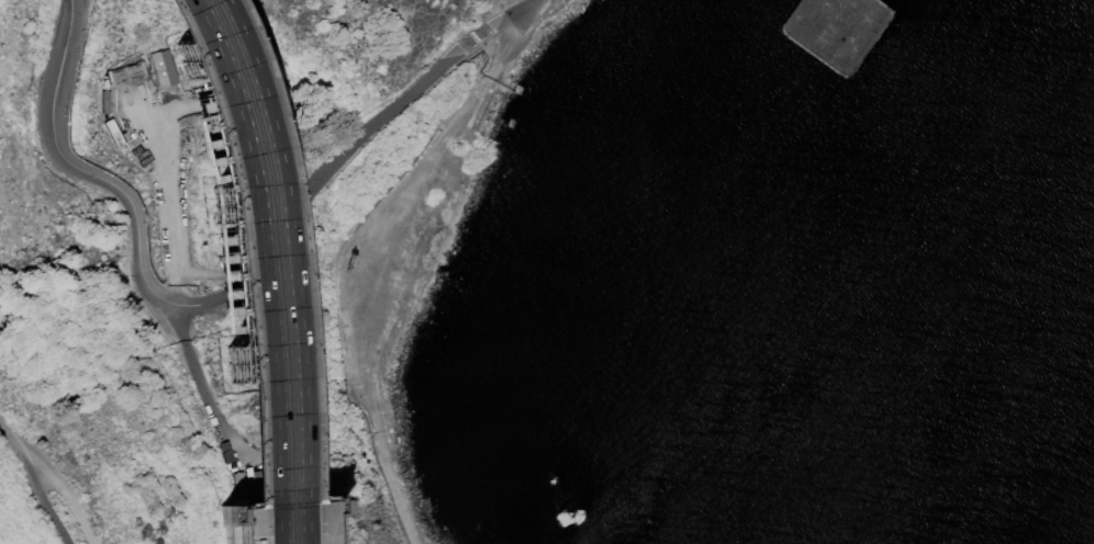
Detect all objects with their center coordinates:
pier: (893, 11)
road: (504, 19)
pier: (835, 30)
road: (512, 39)
building: (161, 67)
road: (164, 202)
road: (181, 203)
road: (224, 267)
road: (242, 268)
road: (263, 269)
road: (281, 269)
road: (373, 299)
road: (203, 305)
road: (196, 370)
road: (18, 446)
road: (69, 499)
road: (48, 508)

